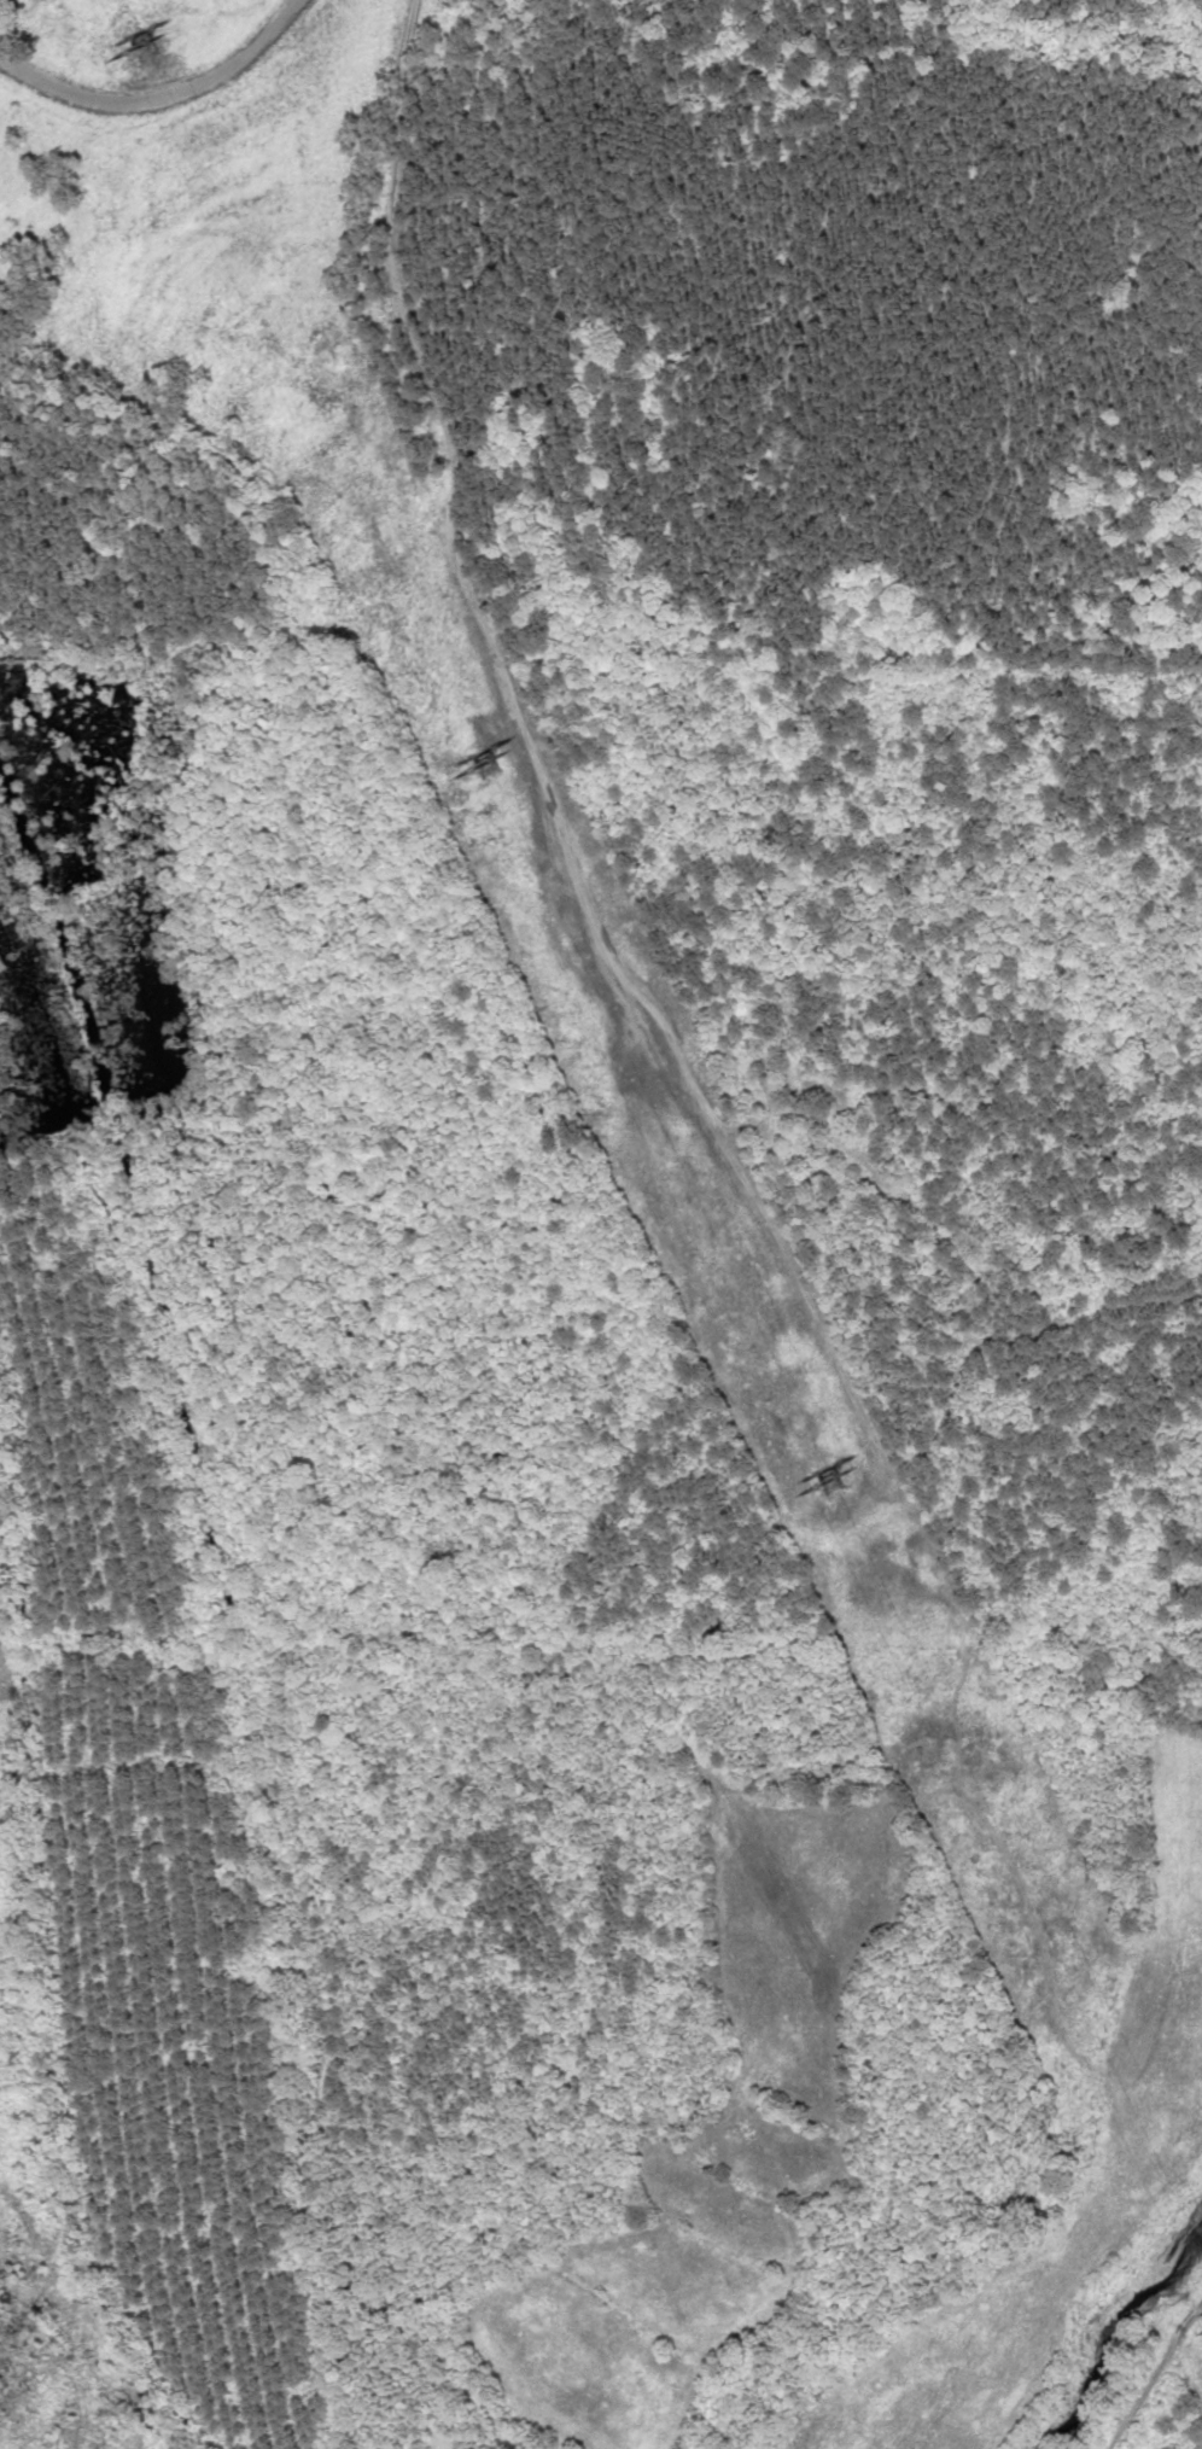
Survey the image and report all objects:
road: (158, 101)
power tower: (467, 780)
power tower: (815, 1468)

